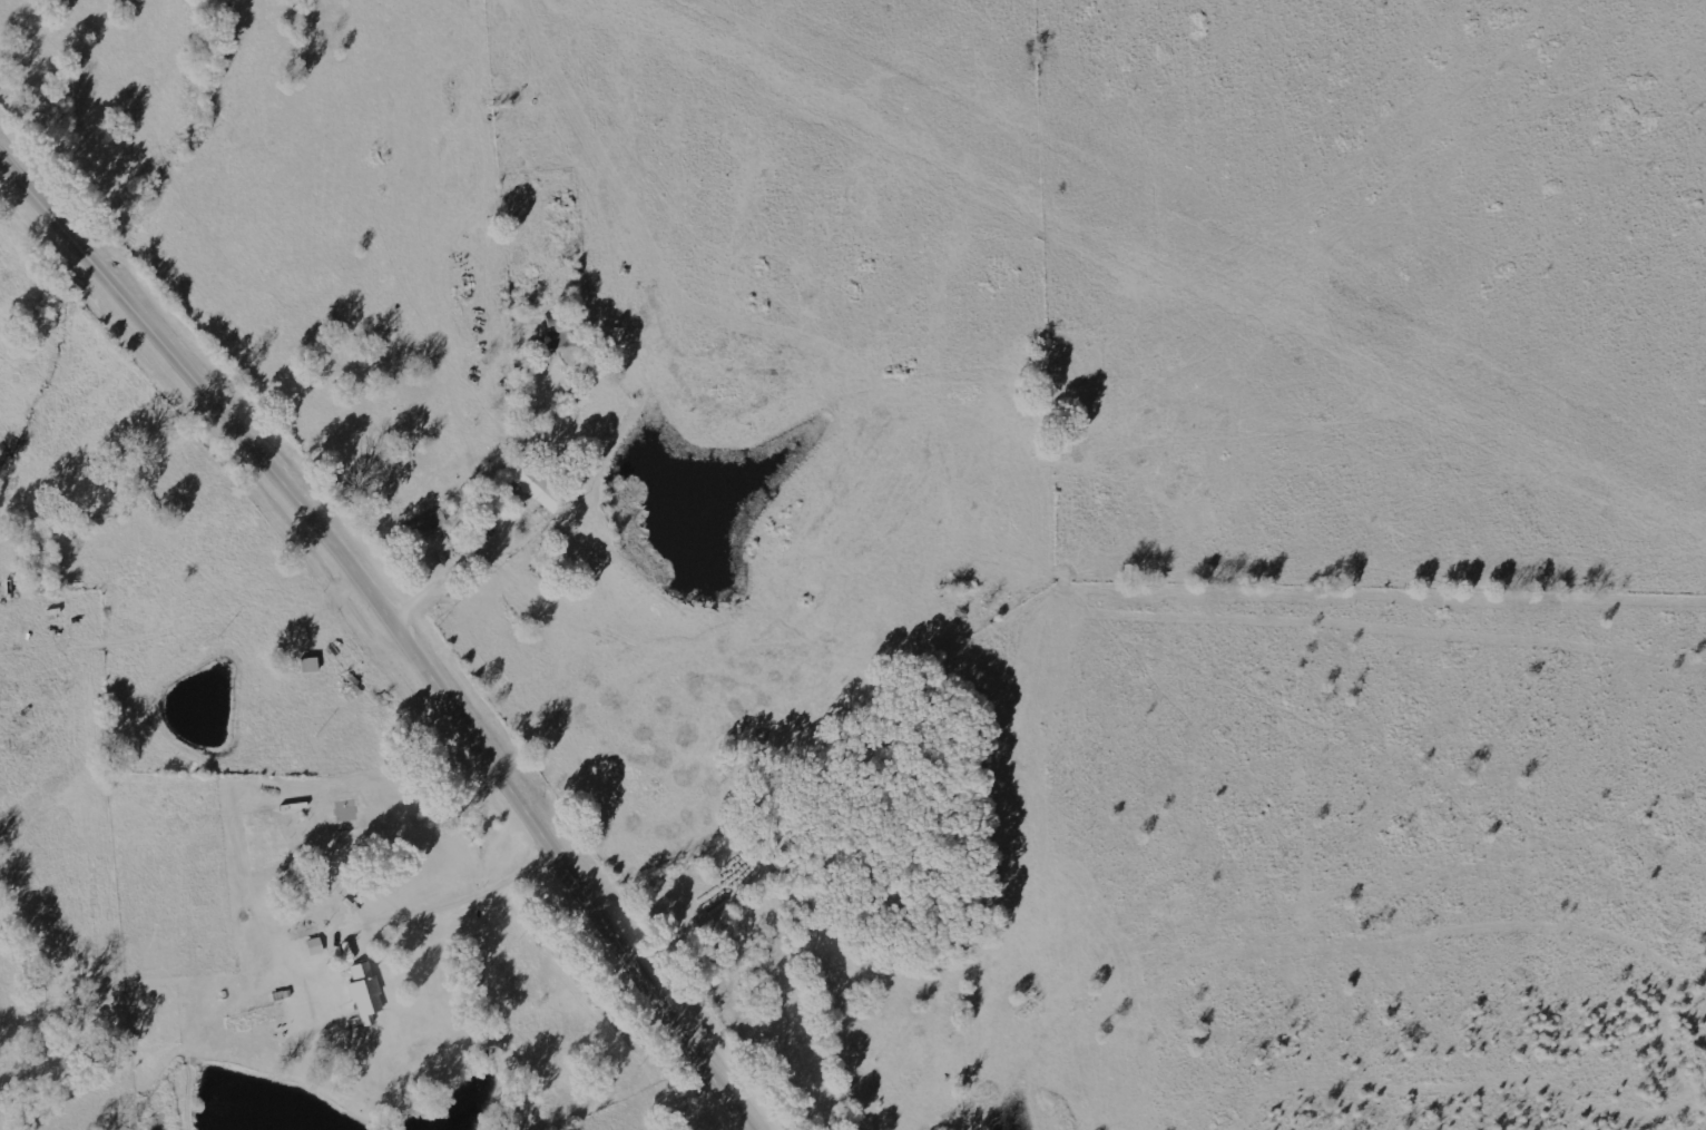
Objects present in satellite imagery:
building: (562, 334)
building: (432, 523)
road: (390, 633)
building: (317, 946)
building: (367, 992)

